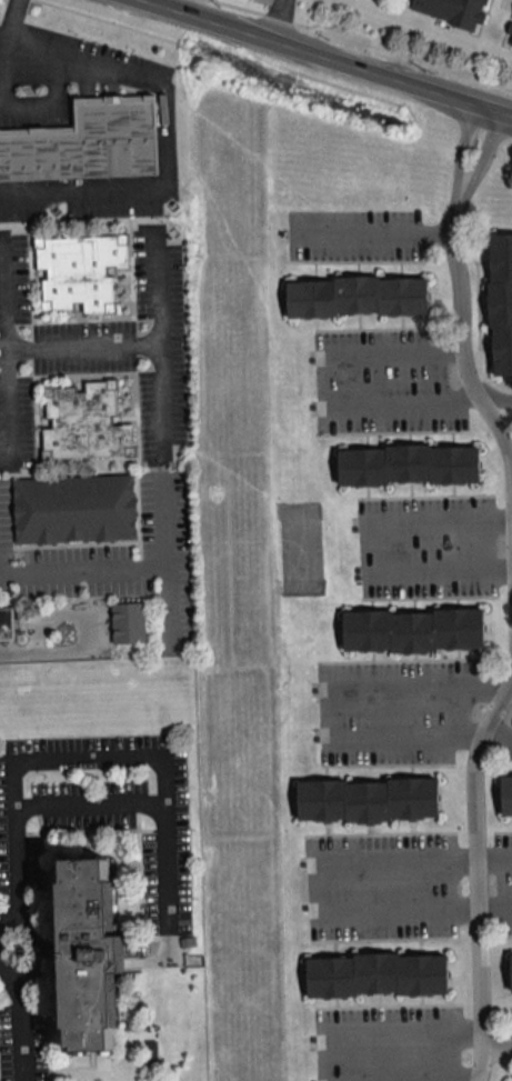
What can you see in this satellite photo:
building: (450, 11)
road: (10, 17)
road: (113, 20)
road: (2, 33)
road: (371, 36)
road: (333, 56)
road: (2, 70)
road: (50, 100)
road: (163, 136)
building: (86, 142)
road: (462, 144)
road: (488, 153)
road: (377, 233)
building: (78, 271)
building: (358, 294)
building: (501, 301)
road: (462, 328)
road: (36, 343)
road: (329, 387)
road: (496, 398)
road: (9, 409)
building: (84, 421)
building: (409, 463)
building: (74, 509)
road: (371, 543)
road: (127, 565)
road: (168, 605)
building: (128, 621)
building: (6, 623)
building: (413, 629)
road: (71, 651)
road: (510, 684)
road: (331, 695)
road: (496, 732)
road: (94, 759)
building: (506, 794)
building: (368, 799)
road: (88, 804)
road: (494, 850)
road: (478, 860)
road: (321, 881)
road: (495, 905)
road: (40, 949)
building: (88, 951)
building: (511, 971)
building: (378, 973)
road: (21, 1031)
road: (406, 1031)
road: (495, 1043)
road: (478, 1065)
road: (379, 1080)

